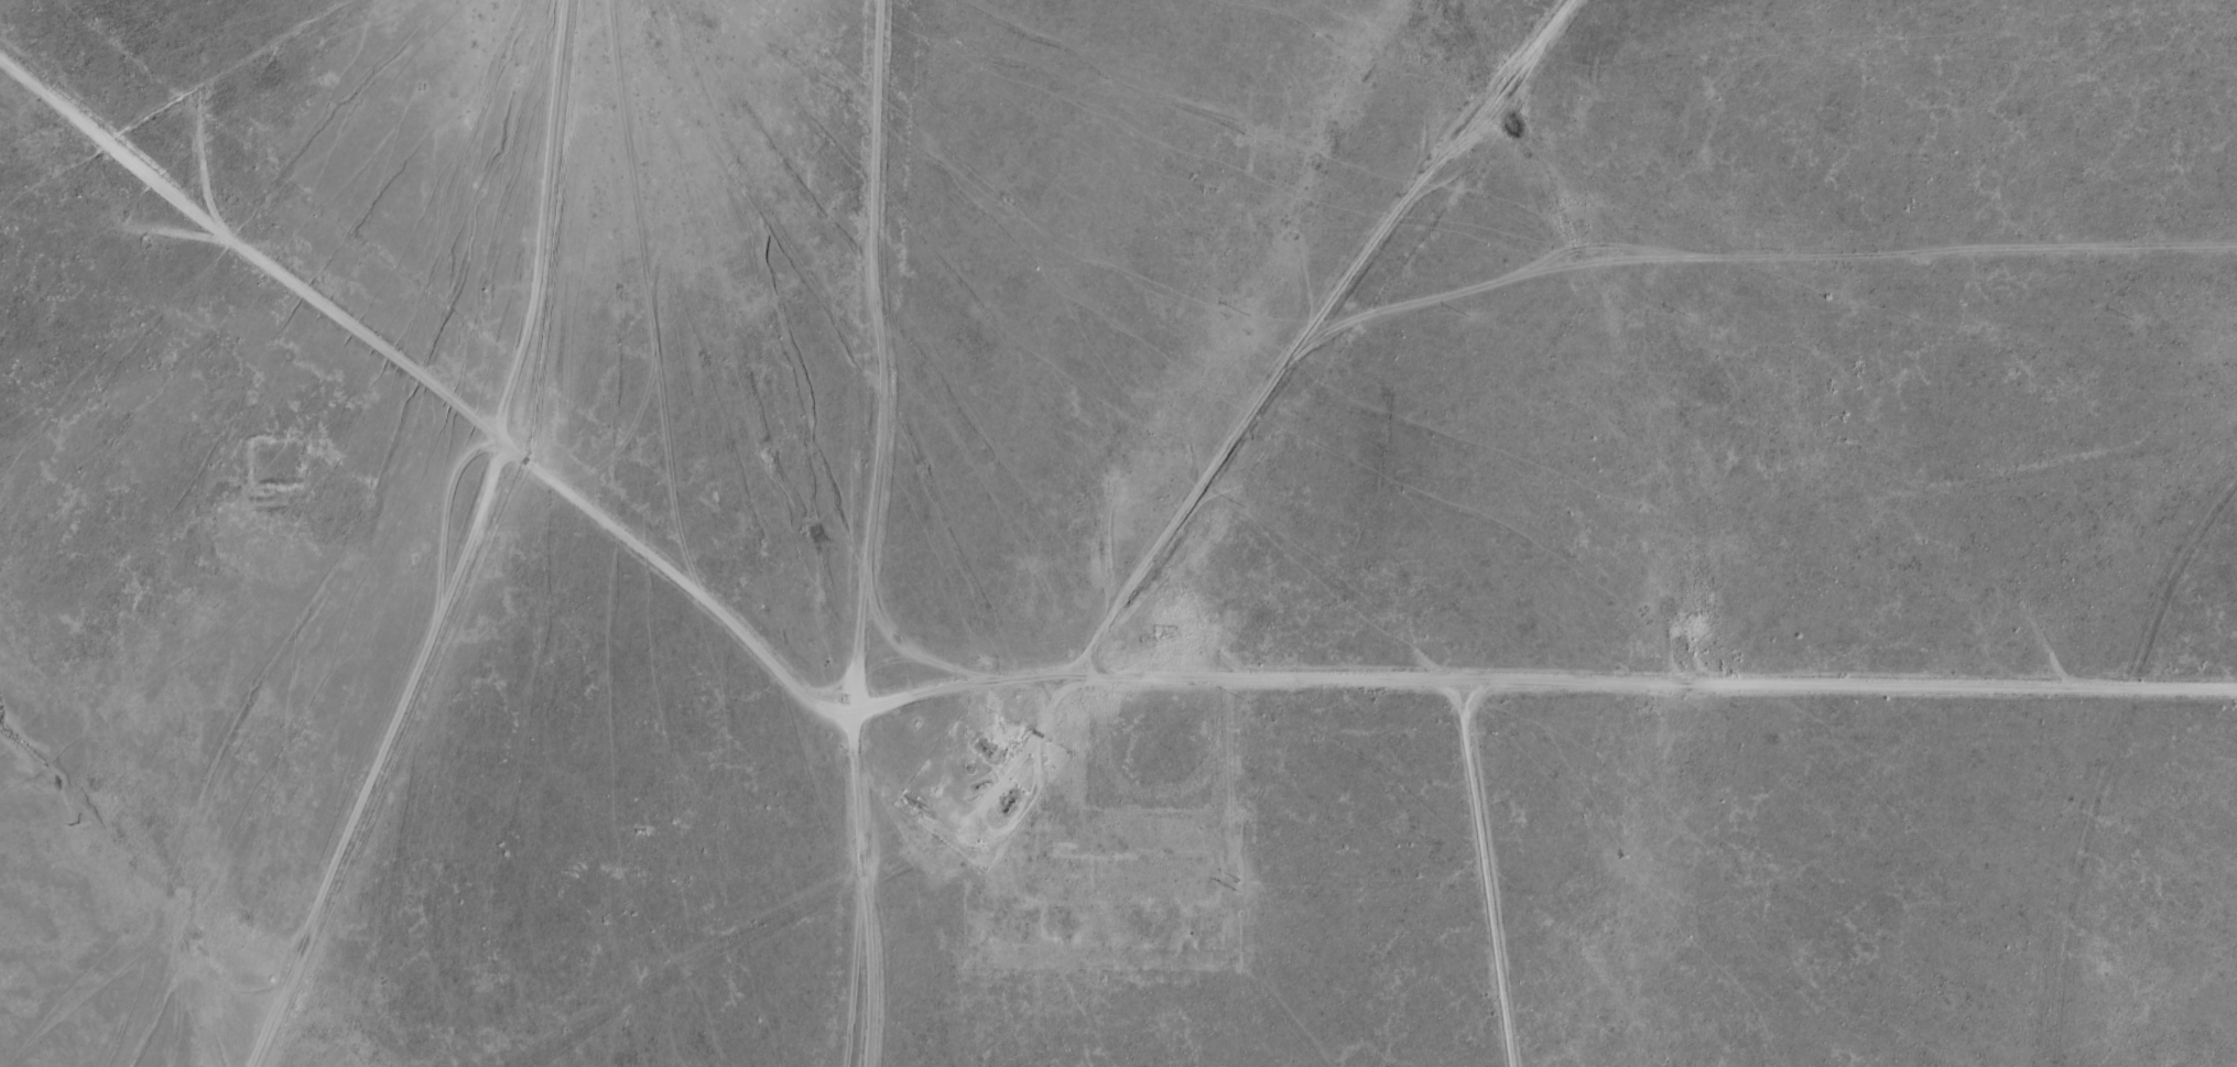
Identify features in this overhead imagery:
road: (696, 203)
road: (839, 533)
road: (850, 688)
road: (1293, 688)
road: (2108, 752)

